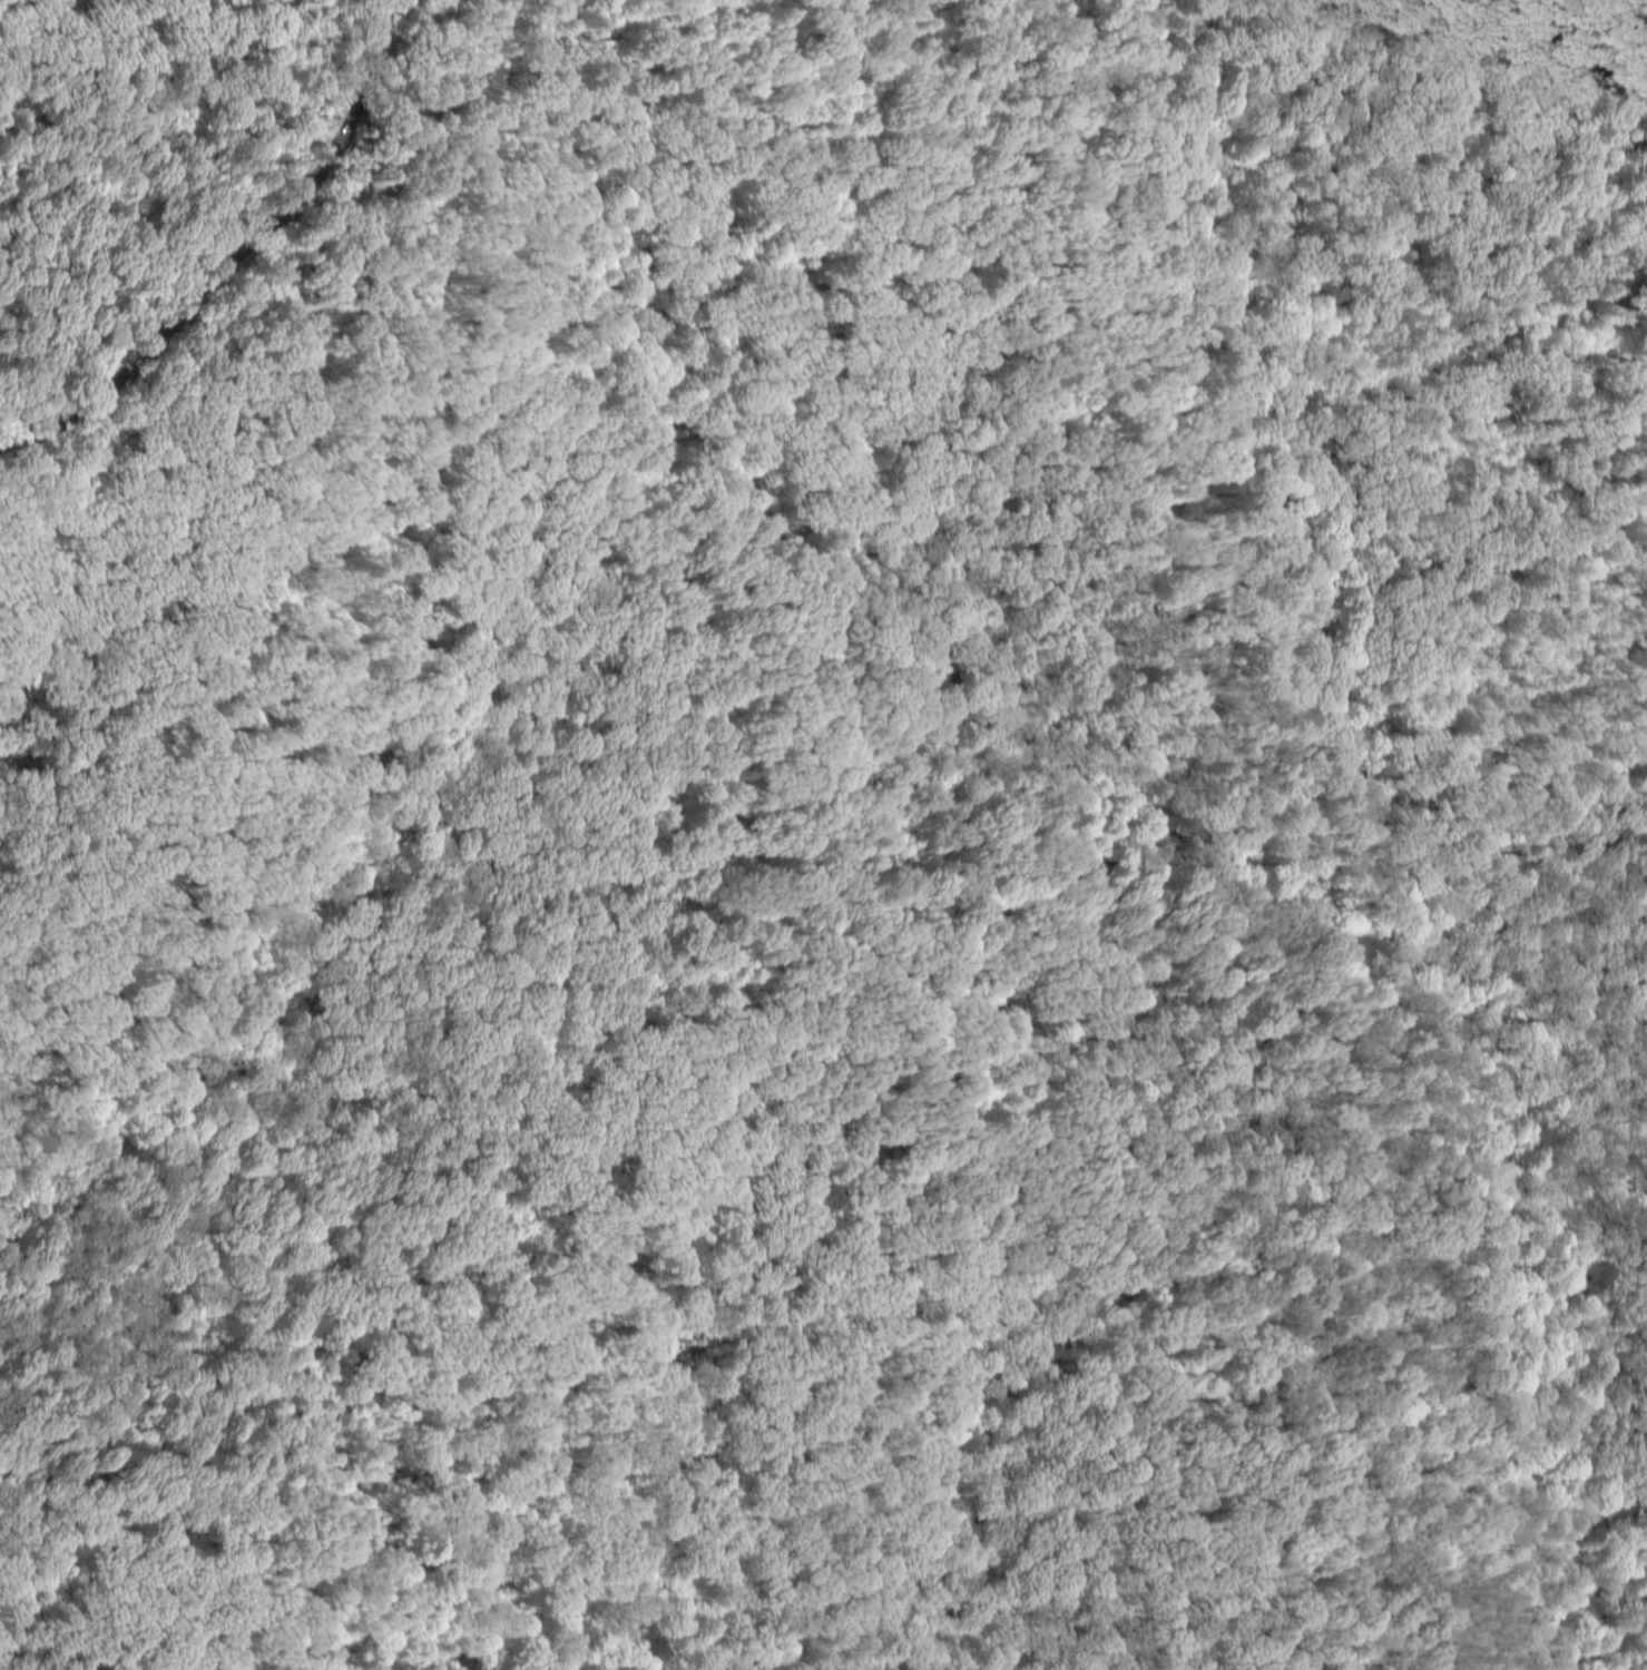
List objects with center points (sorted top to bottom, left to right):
road: (237, 254)
road: (761, 717)
road: (325, 1615)
road: (379, 1618)

